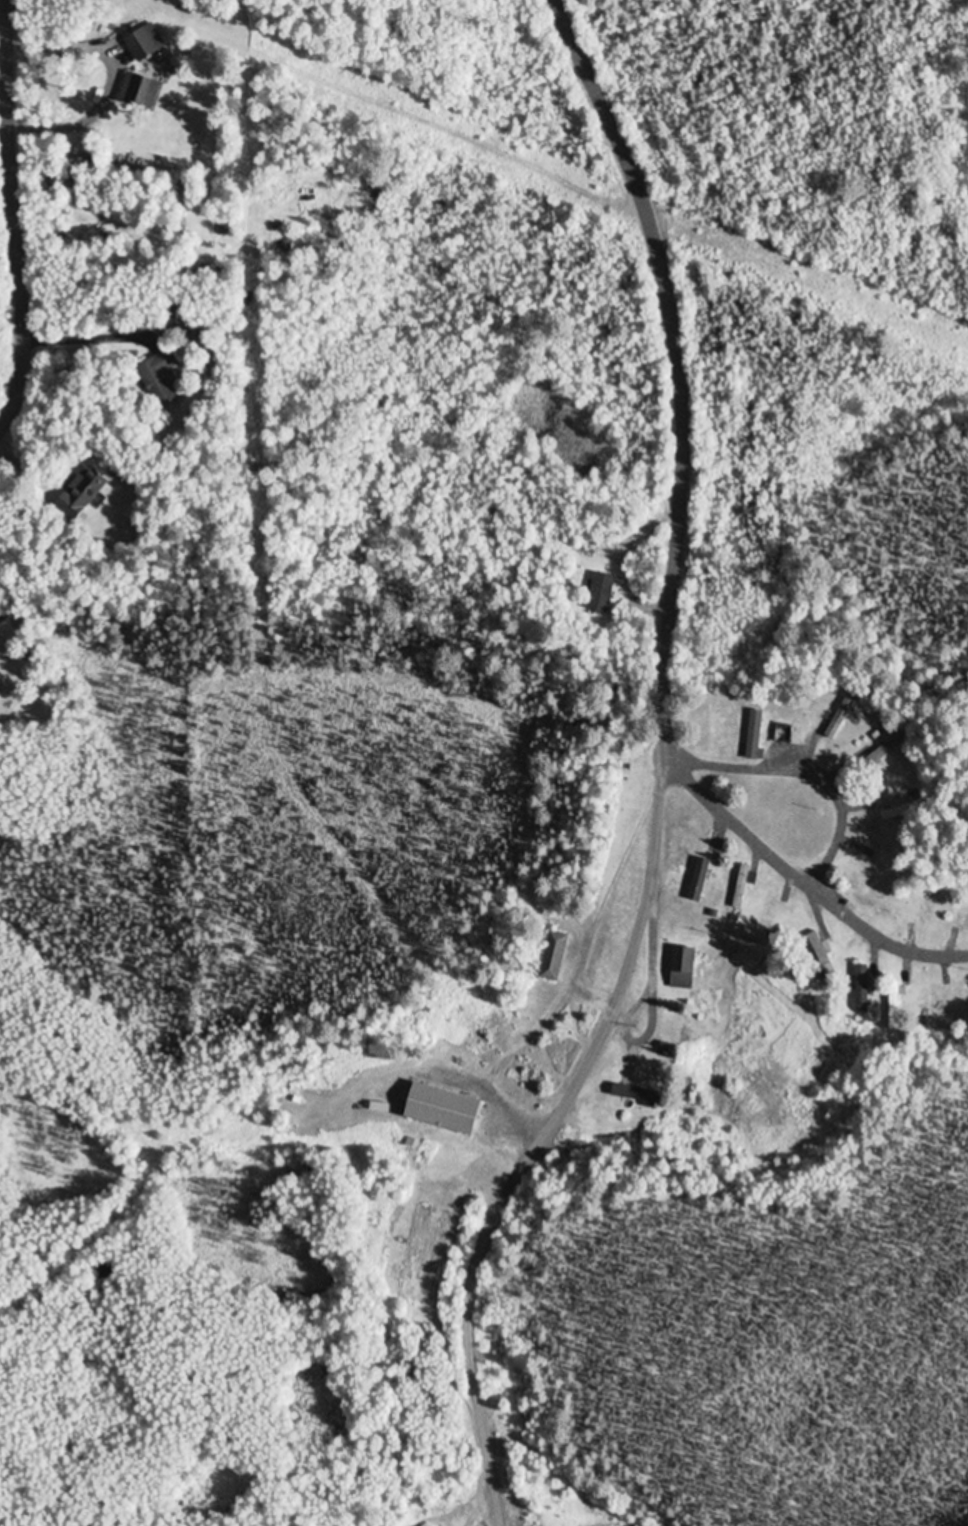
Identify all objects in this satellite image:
building: (142, 45)
building: (140, 92)
road: (13, 224)
building: (172, 308)
building: (198, 336)
building: (159, 379)
building: (80, 494)
building: (840, 717)
building: (783, 735)
building: (754, 736)
building: (881, 754)
road: (798, 769)
road: (660, 773)
building: (901, 811)
road: (802, 880)
building: (740, 889)
building: (866, 902)
building: (767, 913)
building: (965, 924)
building: (821, 956)
building: (552, 957)
building: (682, 969)
building: (861, 990)
building: (893, 1006)
building: (635, 1096)
quarry: (153, 1110)
building: (441, 1111)

